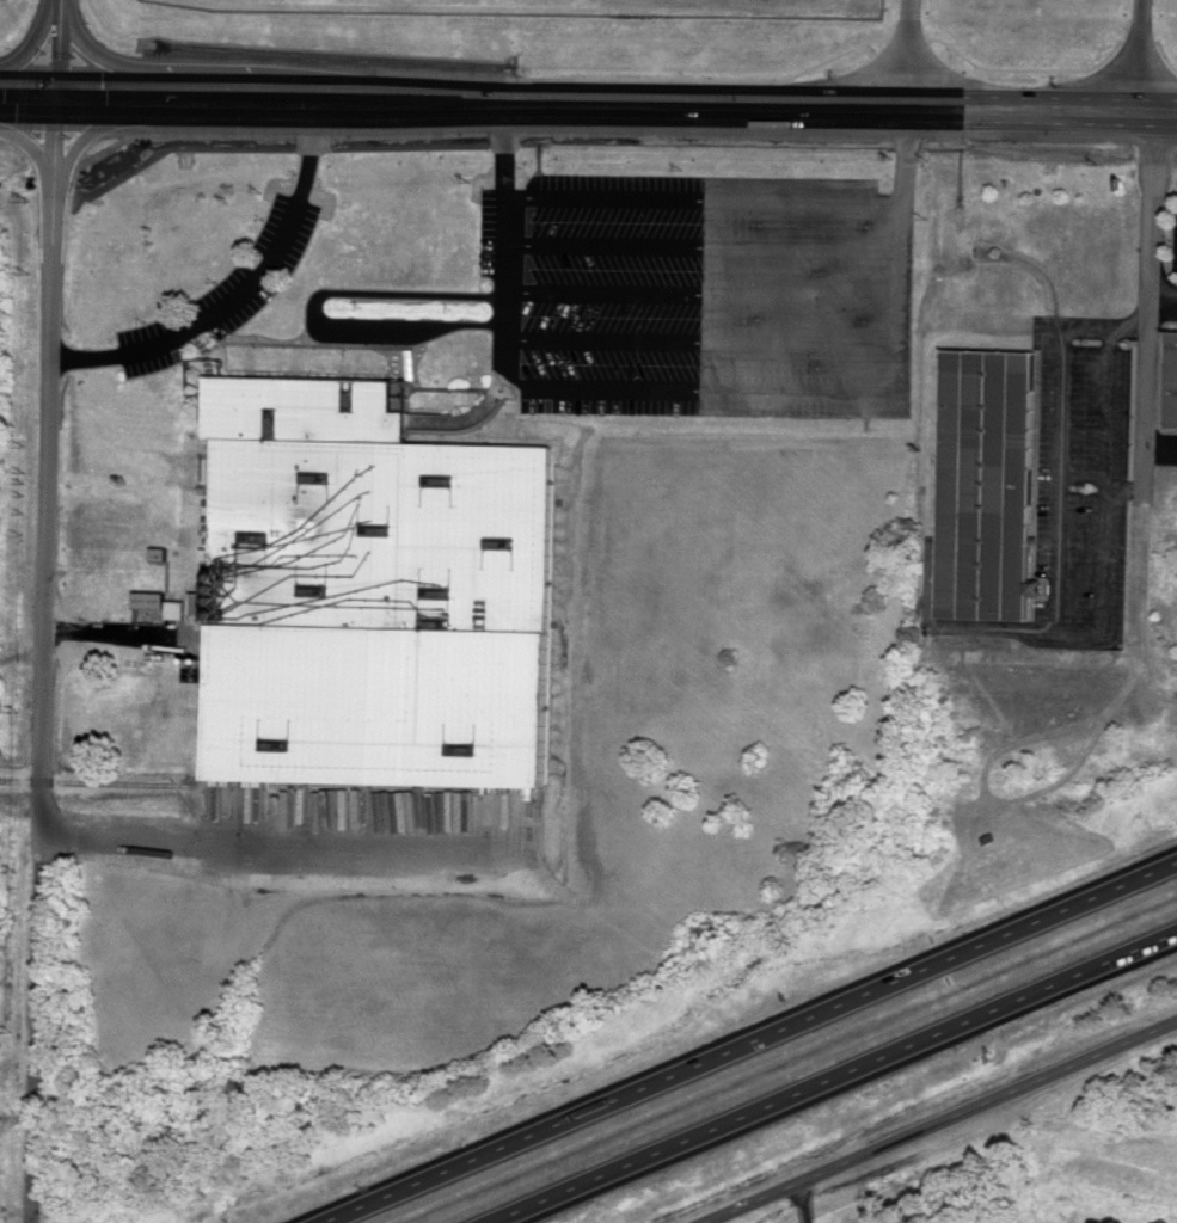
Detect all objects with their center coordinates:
road: (57, 50)
road: (907, 57)
road: (1151, 59)
road: (27, 100)
traffic signals: (56, 102)
road: (615, 112)
road: (244, 299)
road: (1148, 352)
building: (1170, 380)
road: (693, 391)
building: (985, 485)
building: (373, 591)
building: (153, 597)
building: (179, 608)
road: (45, 662)
railway: (271, 786)
road: (277, 843)
road: (746, 1041)
road: (835, 1077)
road: (939, 1121)
road: (805, 1202)

